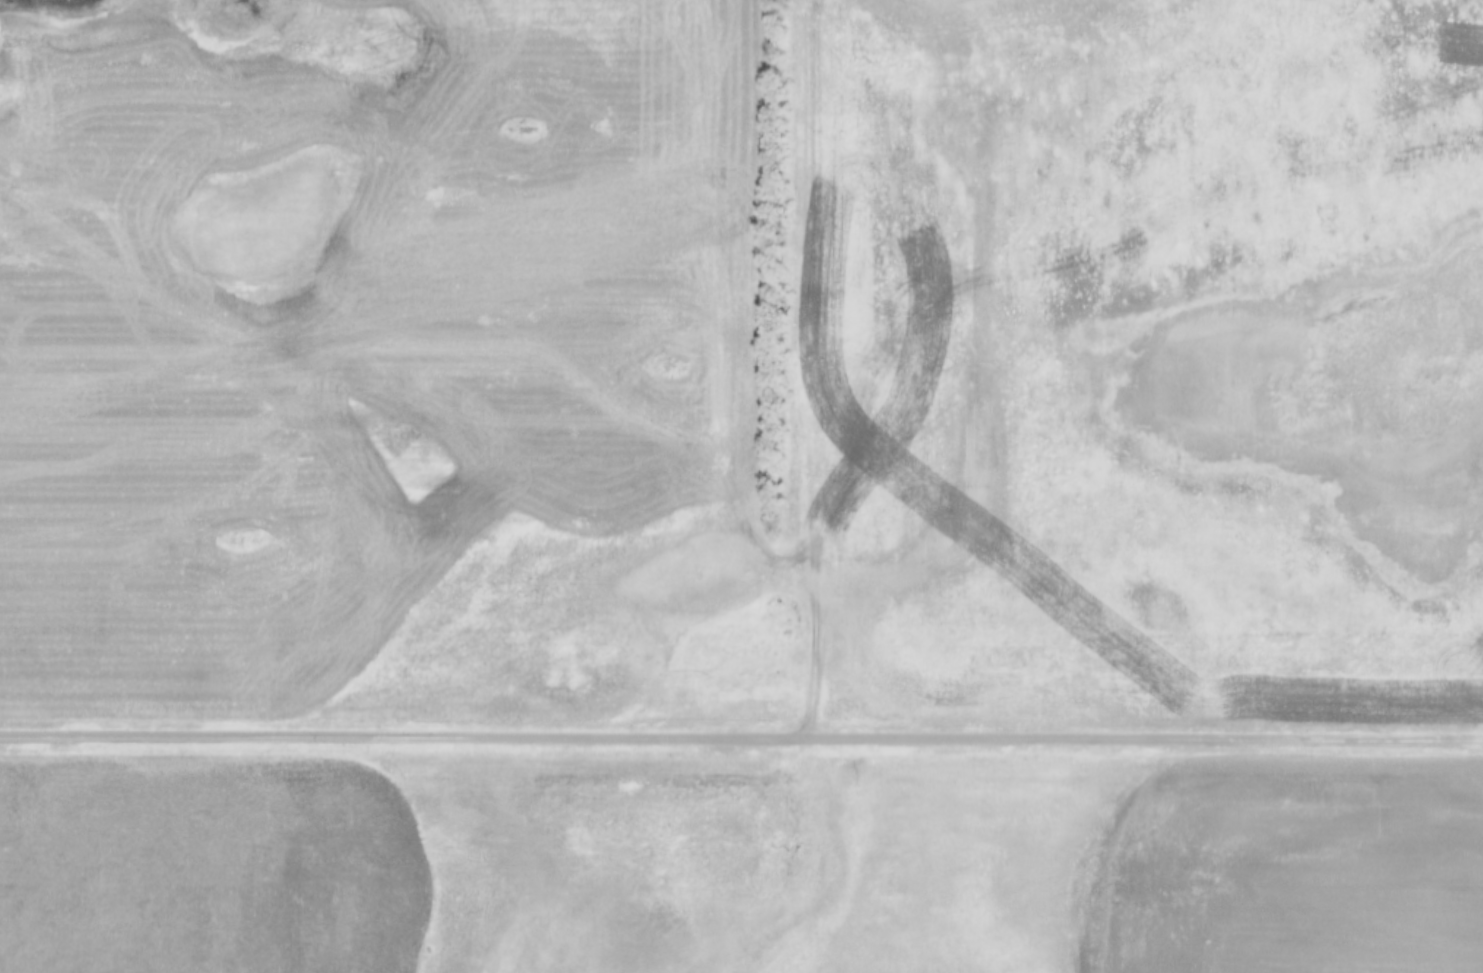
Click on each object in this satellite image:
road: (741, 737)

